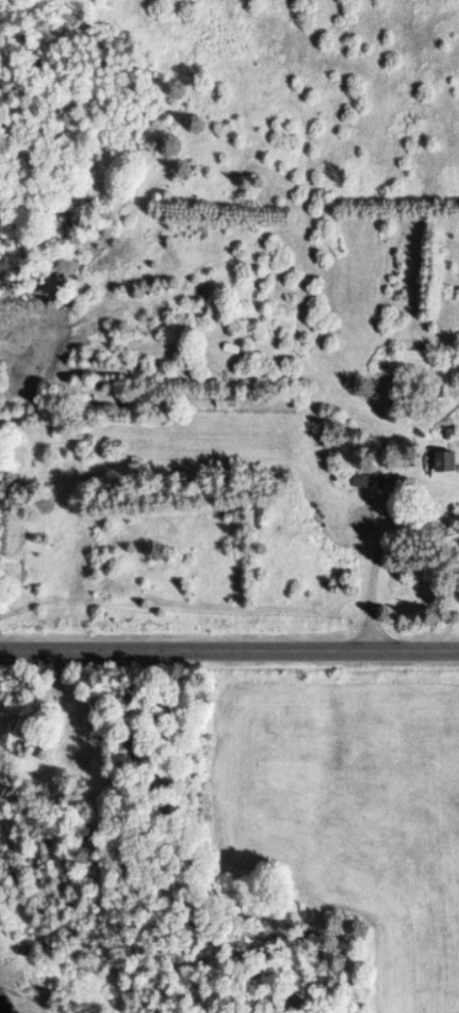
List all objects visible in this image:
building: (225, 377)
building: (441, 464)
building: (361, 483)
road: (229, 655)
building: (77, 745)

